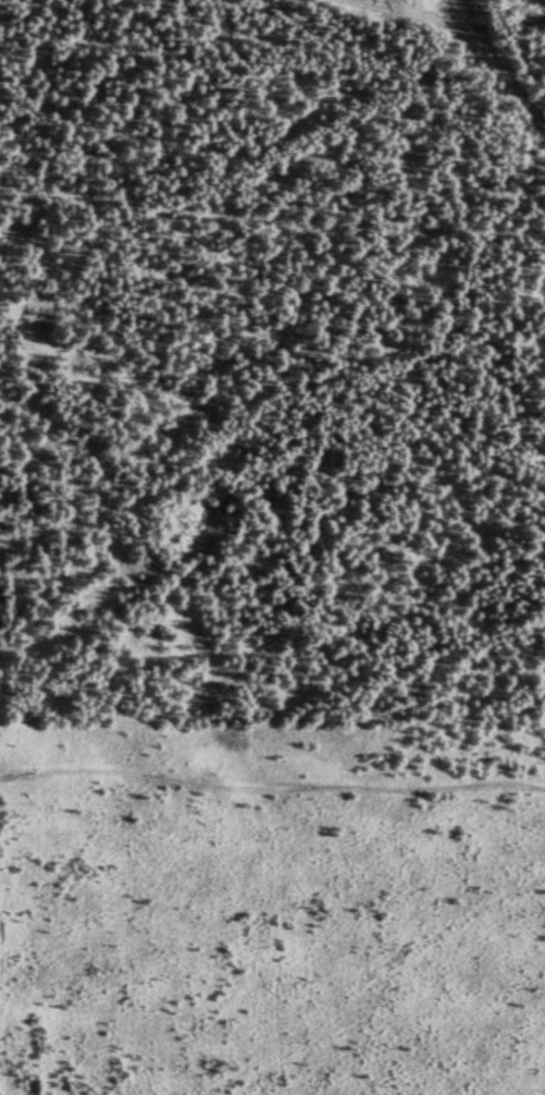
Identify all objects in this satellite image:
road: (468, 49)
road: (271, 788)

